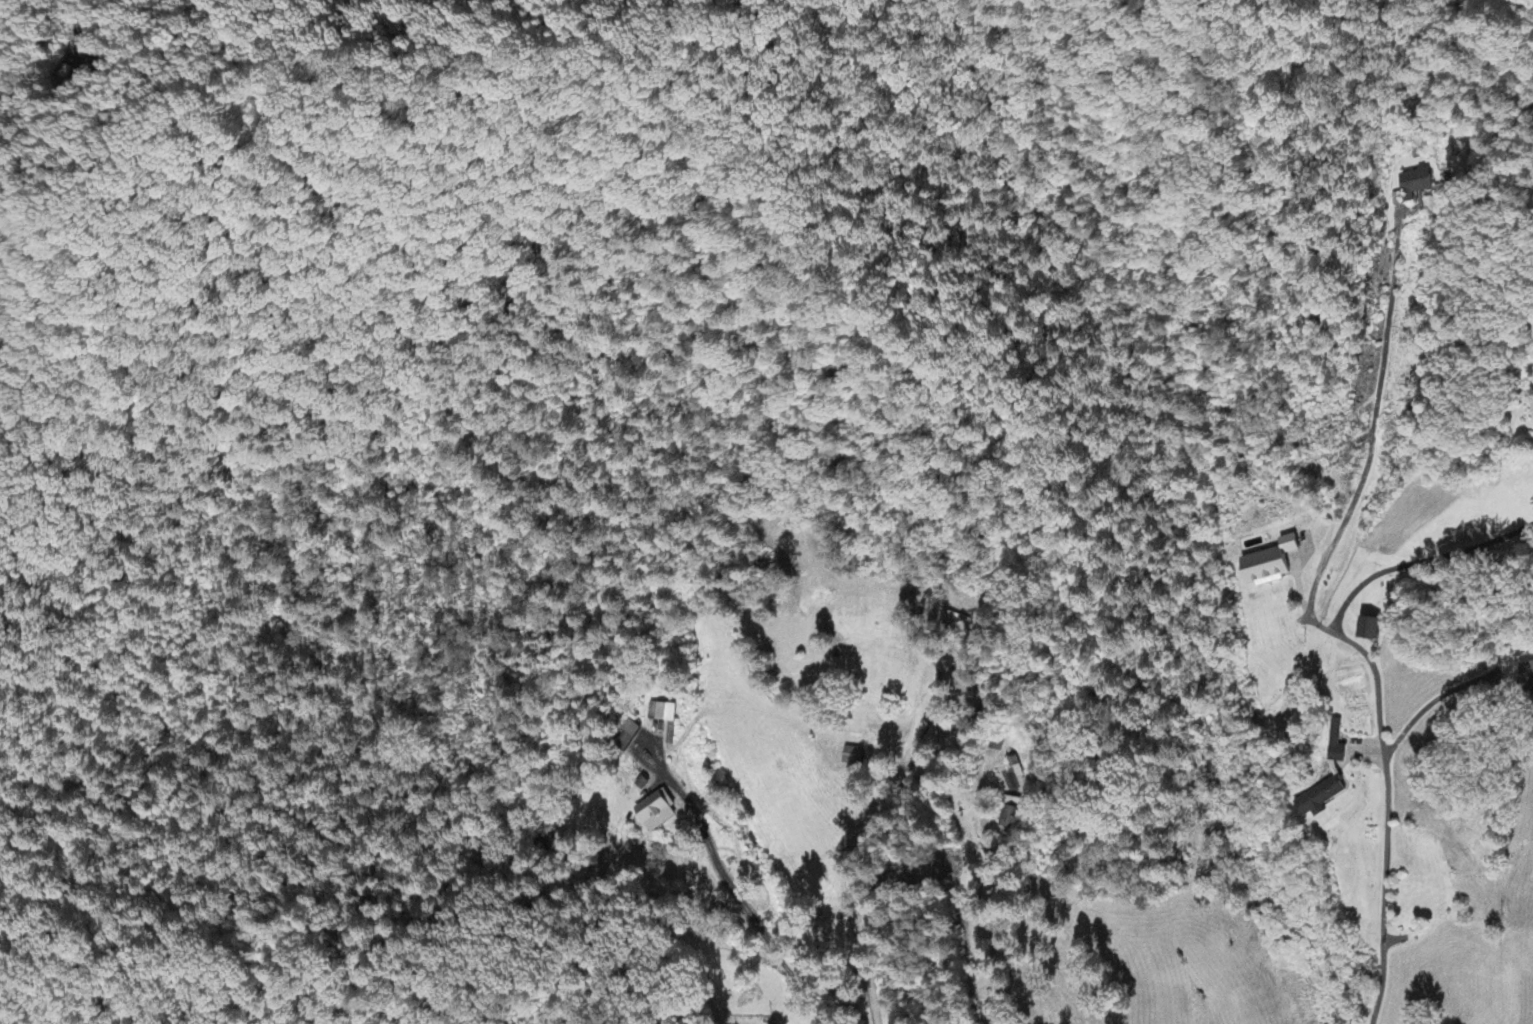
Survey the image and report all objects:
road: (79, 5)
building: (1419, 185)
building: (1396, 201)
building: (1273, 564)
road: (1327, 627)
building: (1373, 631)
building: (1526, 674)
building: (663, 713)
building: (625, 734)
building: (1337, 744)
building: (854, 757)
building: (1321, 800)
building: (658, 813)
building: (1013, 814)
road: (750, 900)
road: (994, 918)

